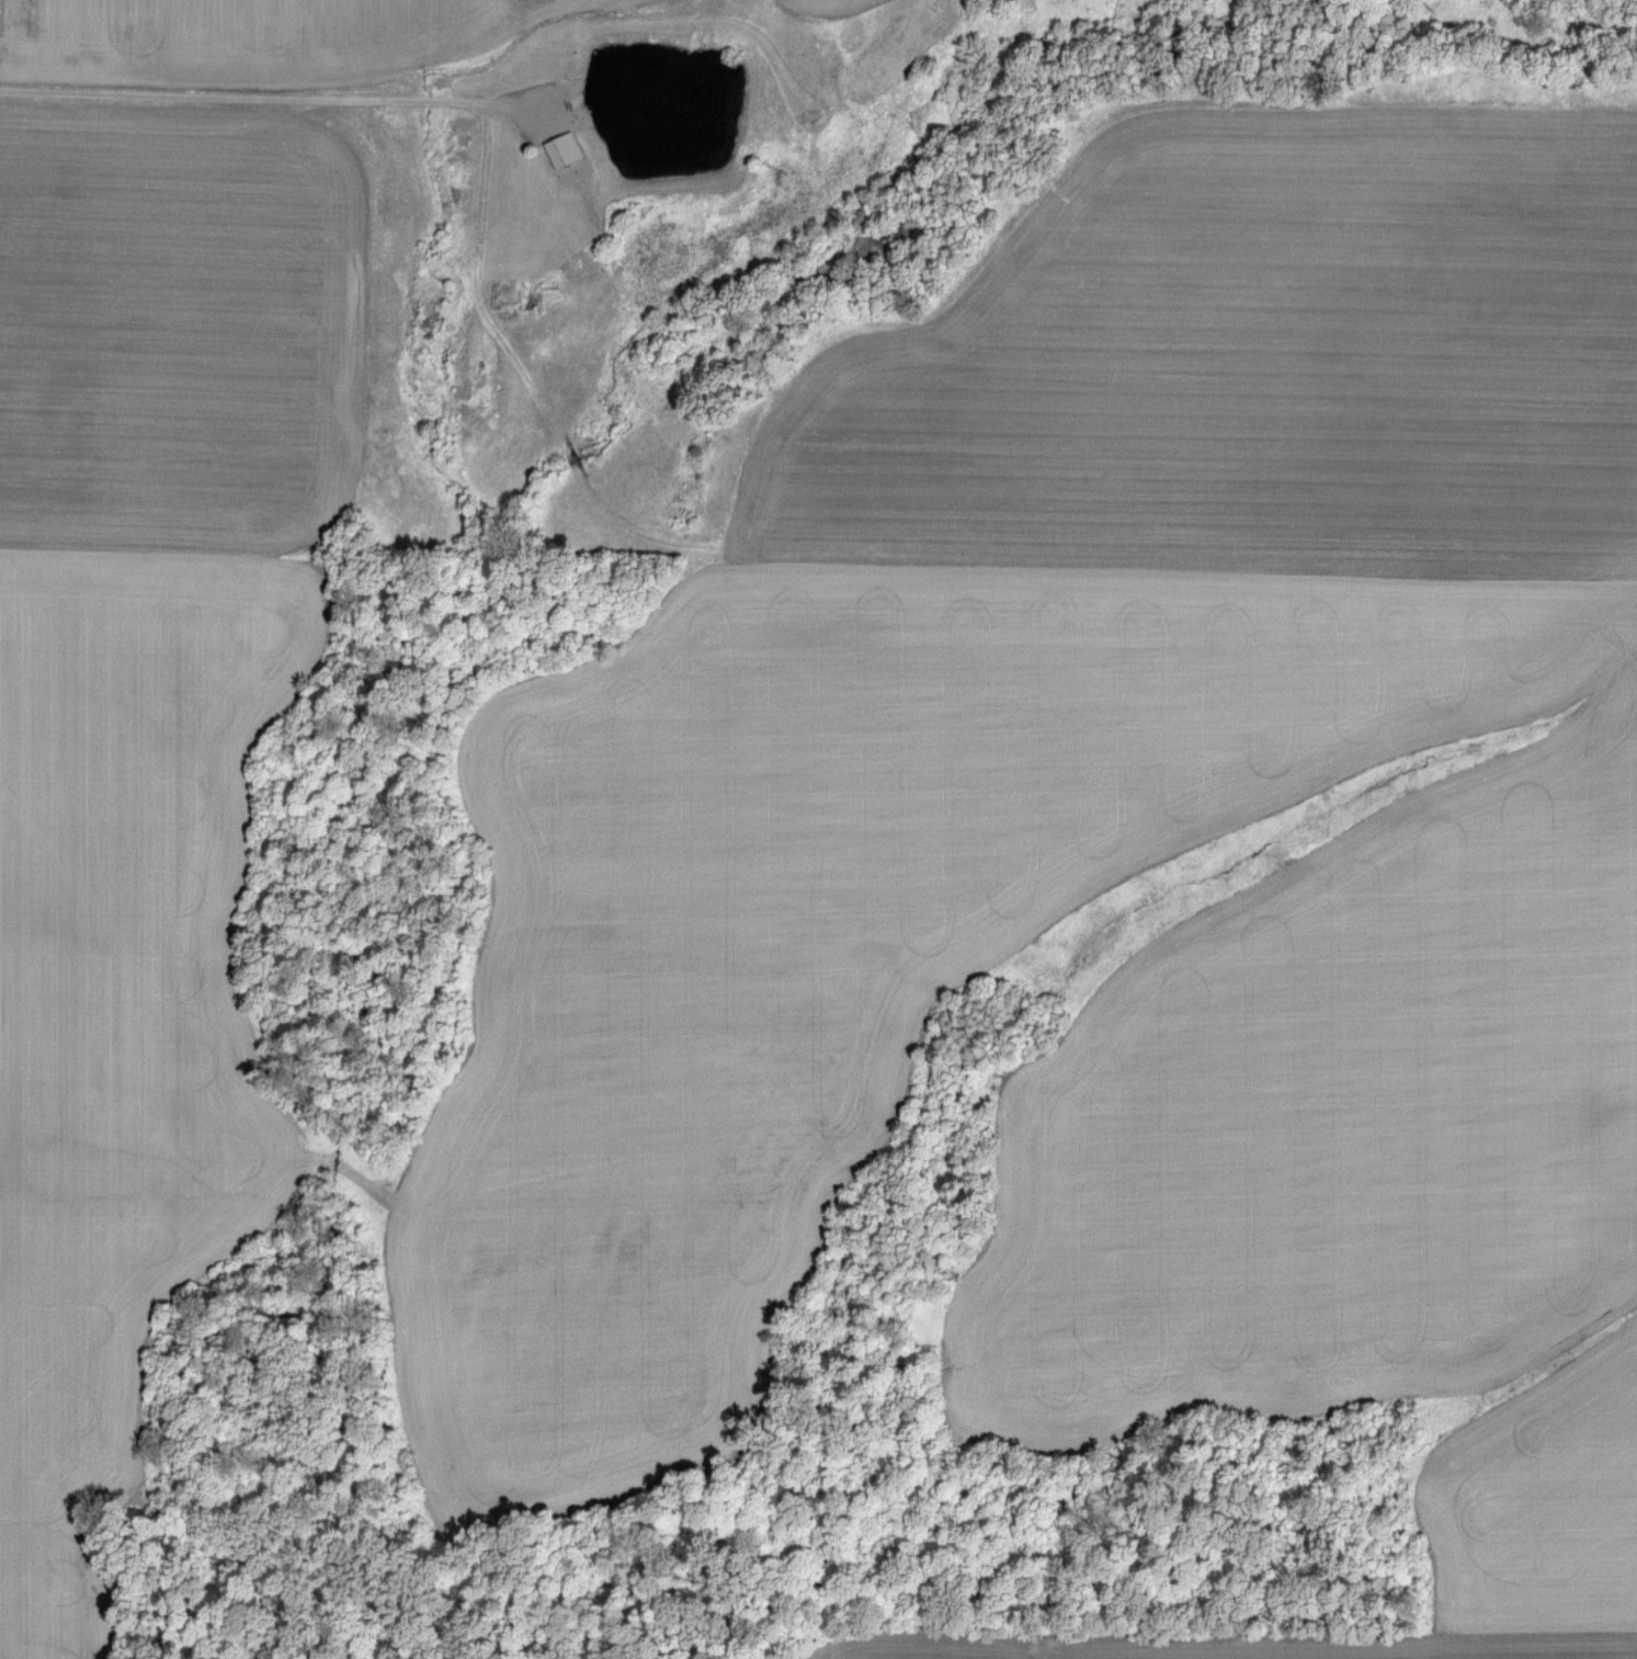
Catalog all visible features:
road: (280, 100)

